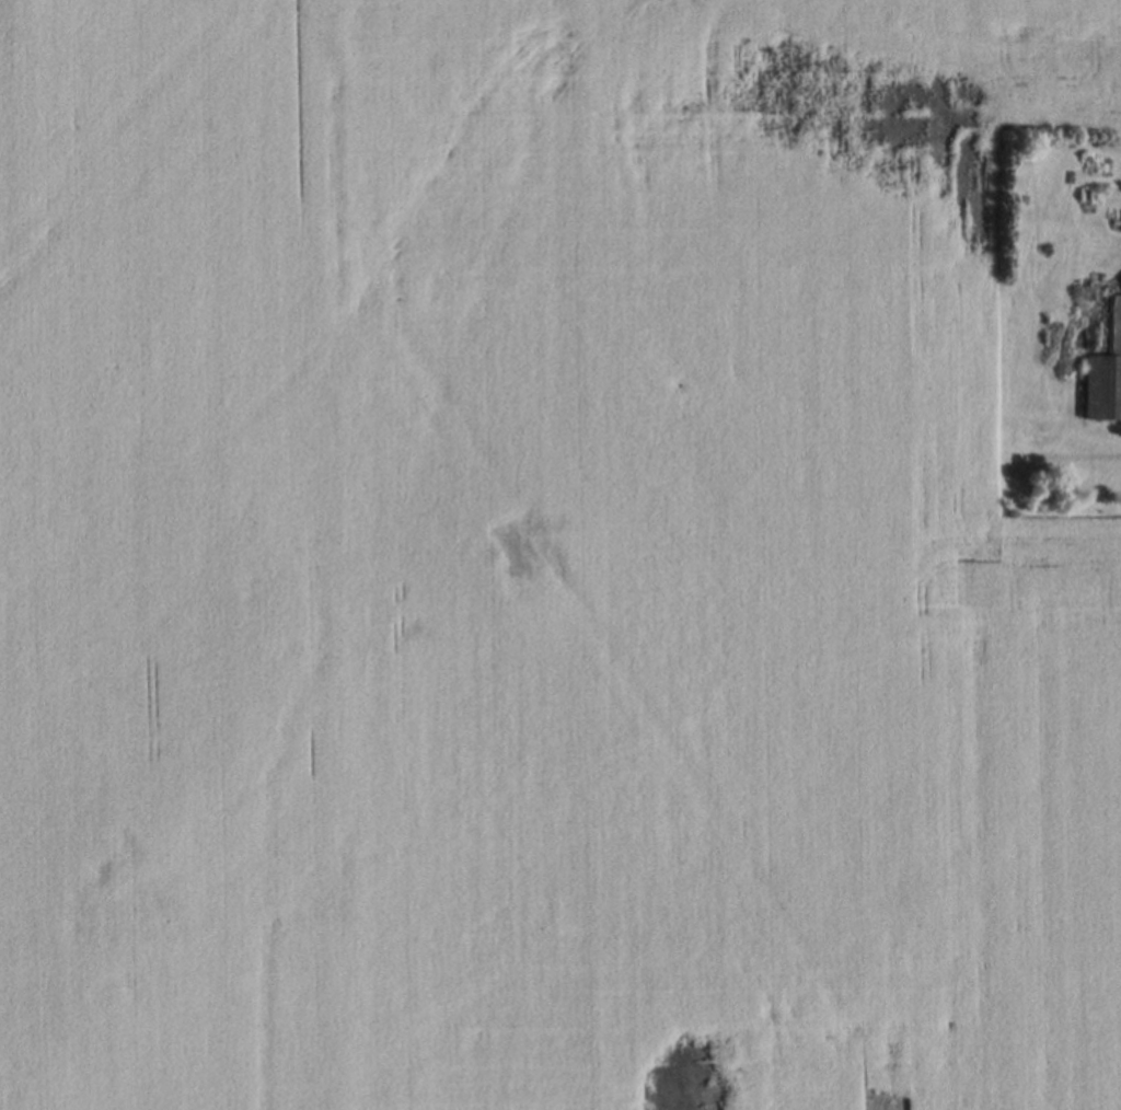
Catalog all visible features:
building: (1106, 371)

